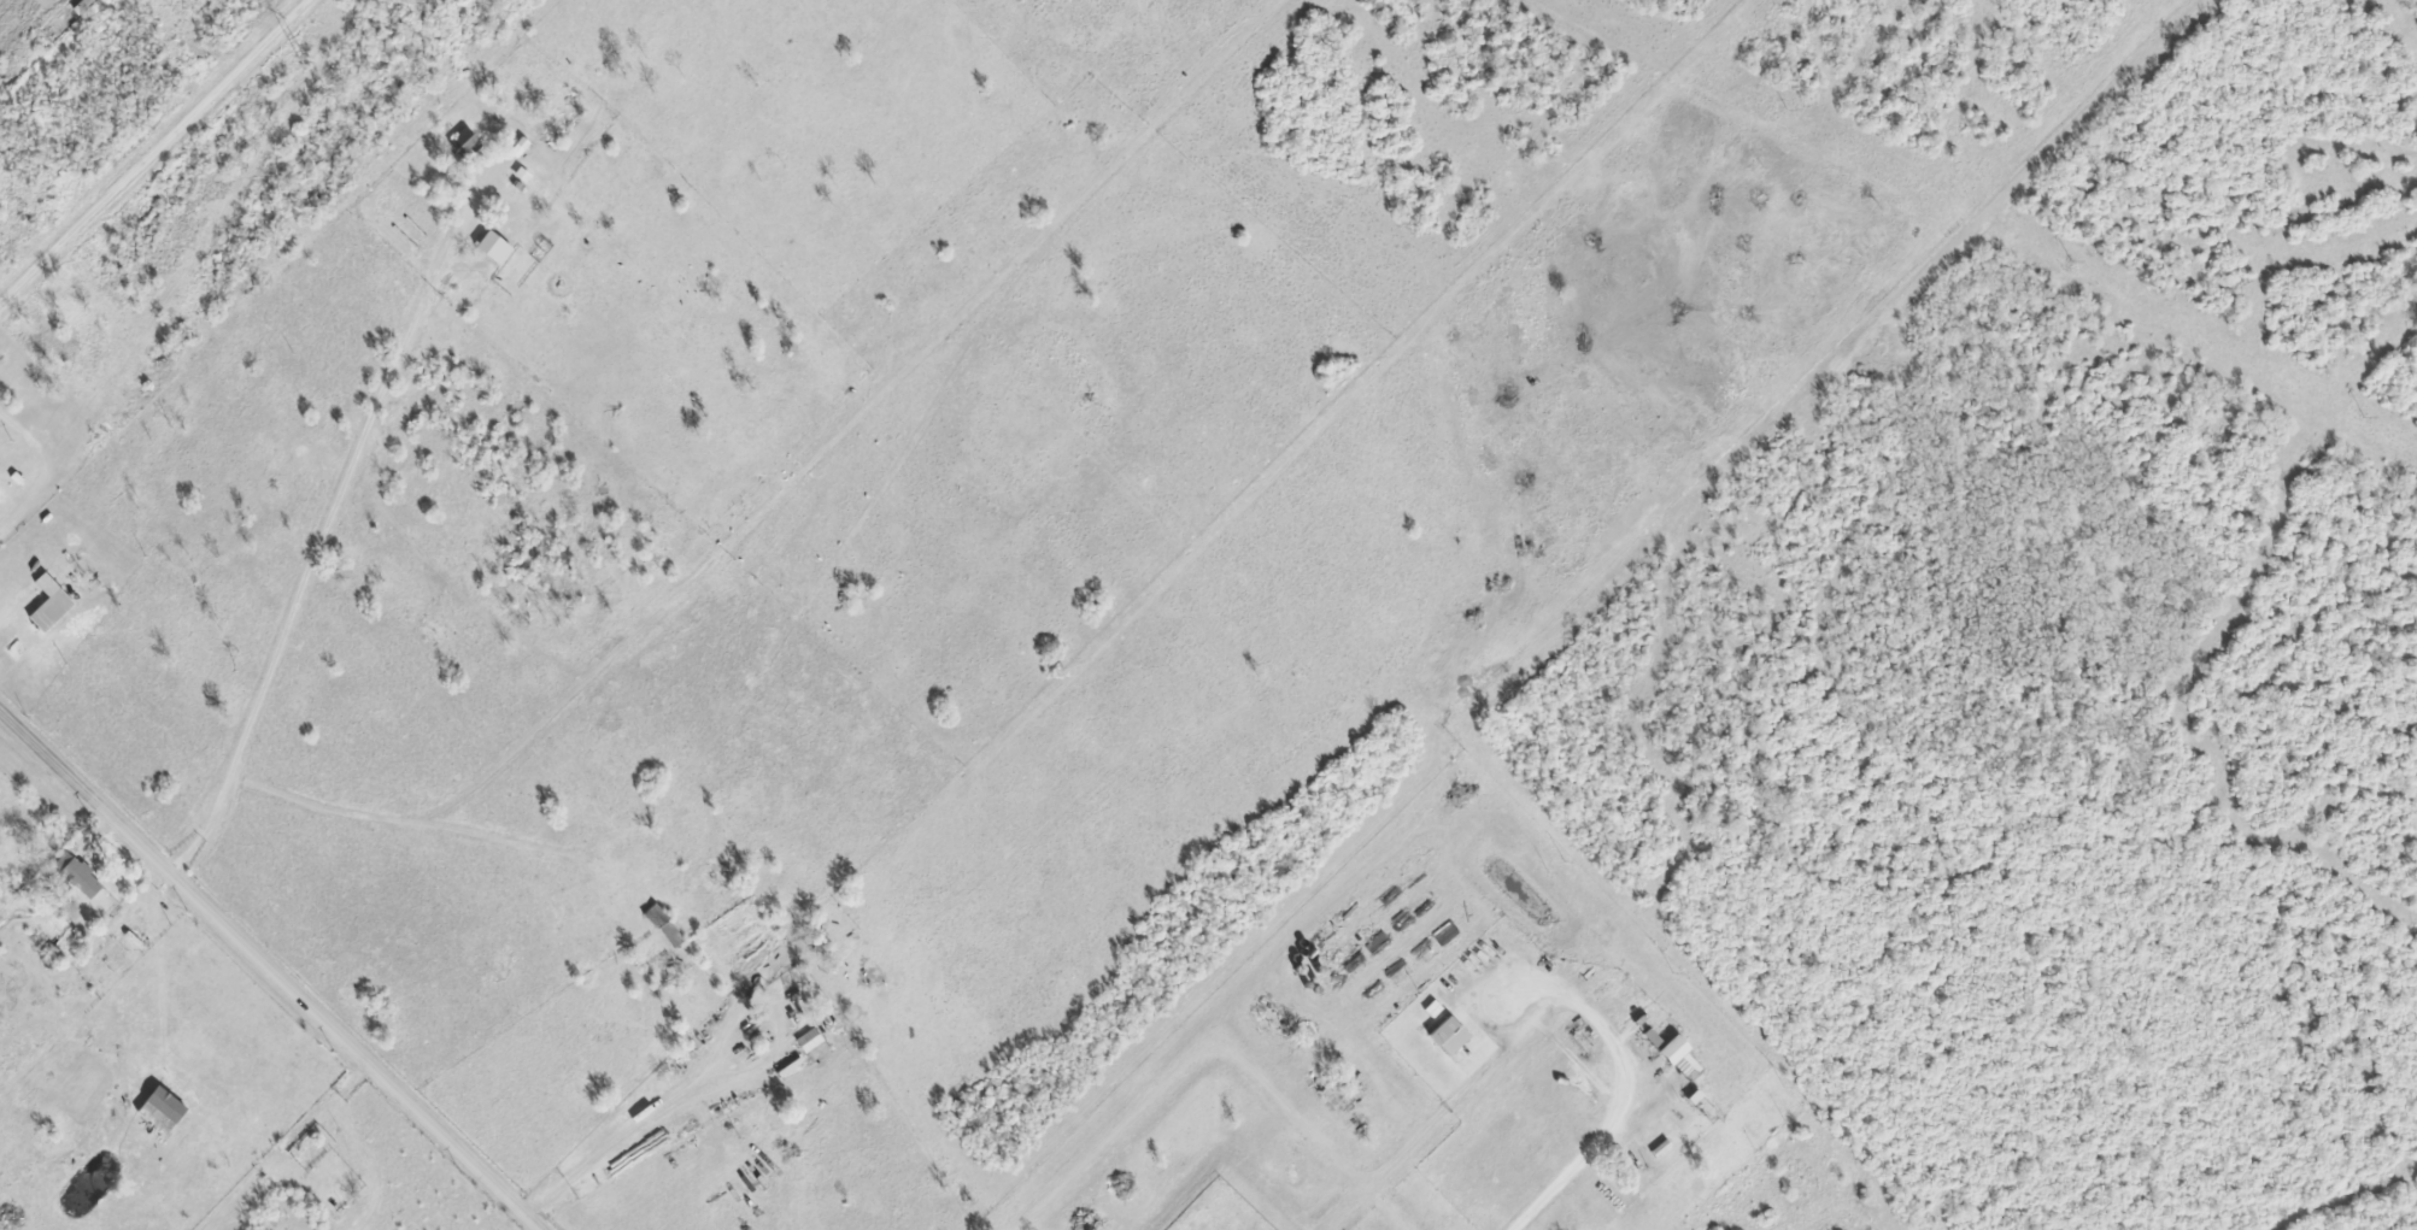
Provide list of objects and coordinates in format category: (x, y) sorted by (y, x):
power tower: (301, 60)
building: (463, 143)
road: (152, 148)
building: (49, 611)
building: (77, 875)
building: (655, 917)
road: (270, 966)
building: (1447, 1036)
building: (1652, 1038)
building: (808, 1040)
building: (1671, 1049)
building: (1688, 1067)
building: (159, 1110)

